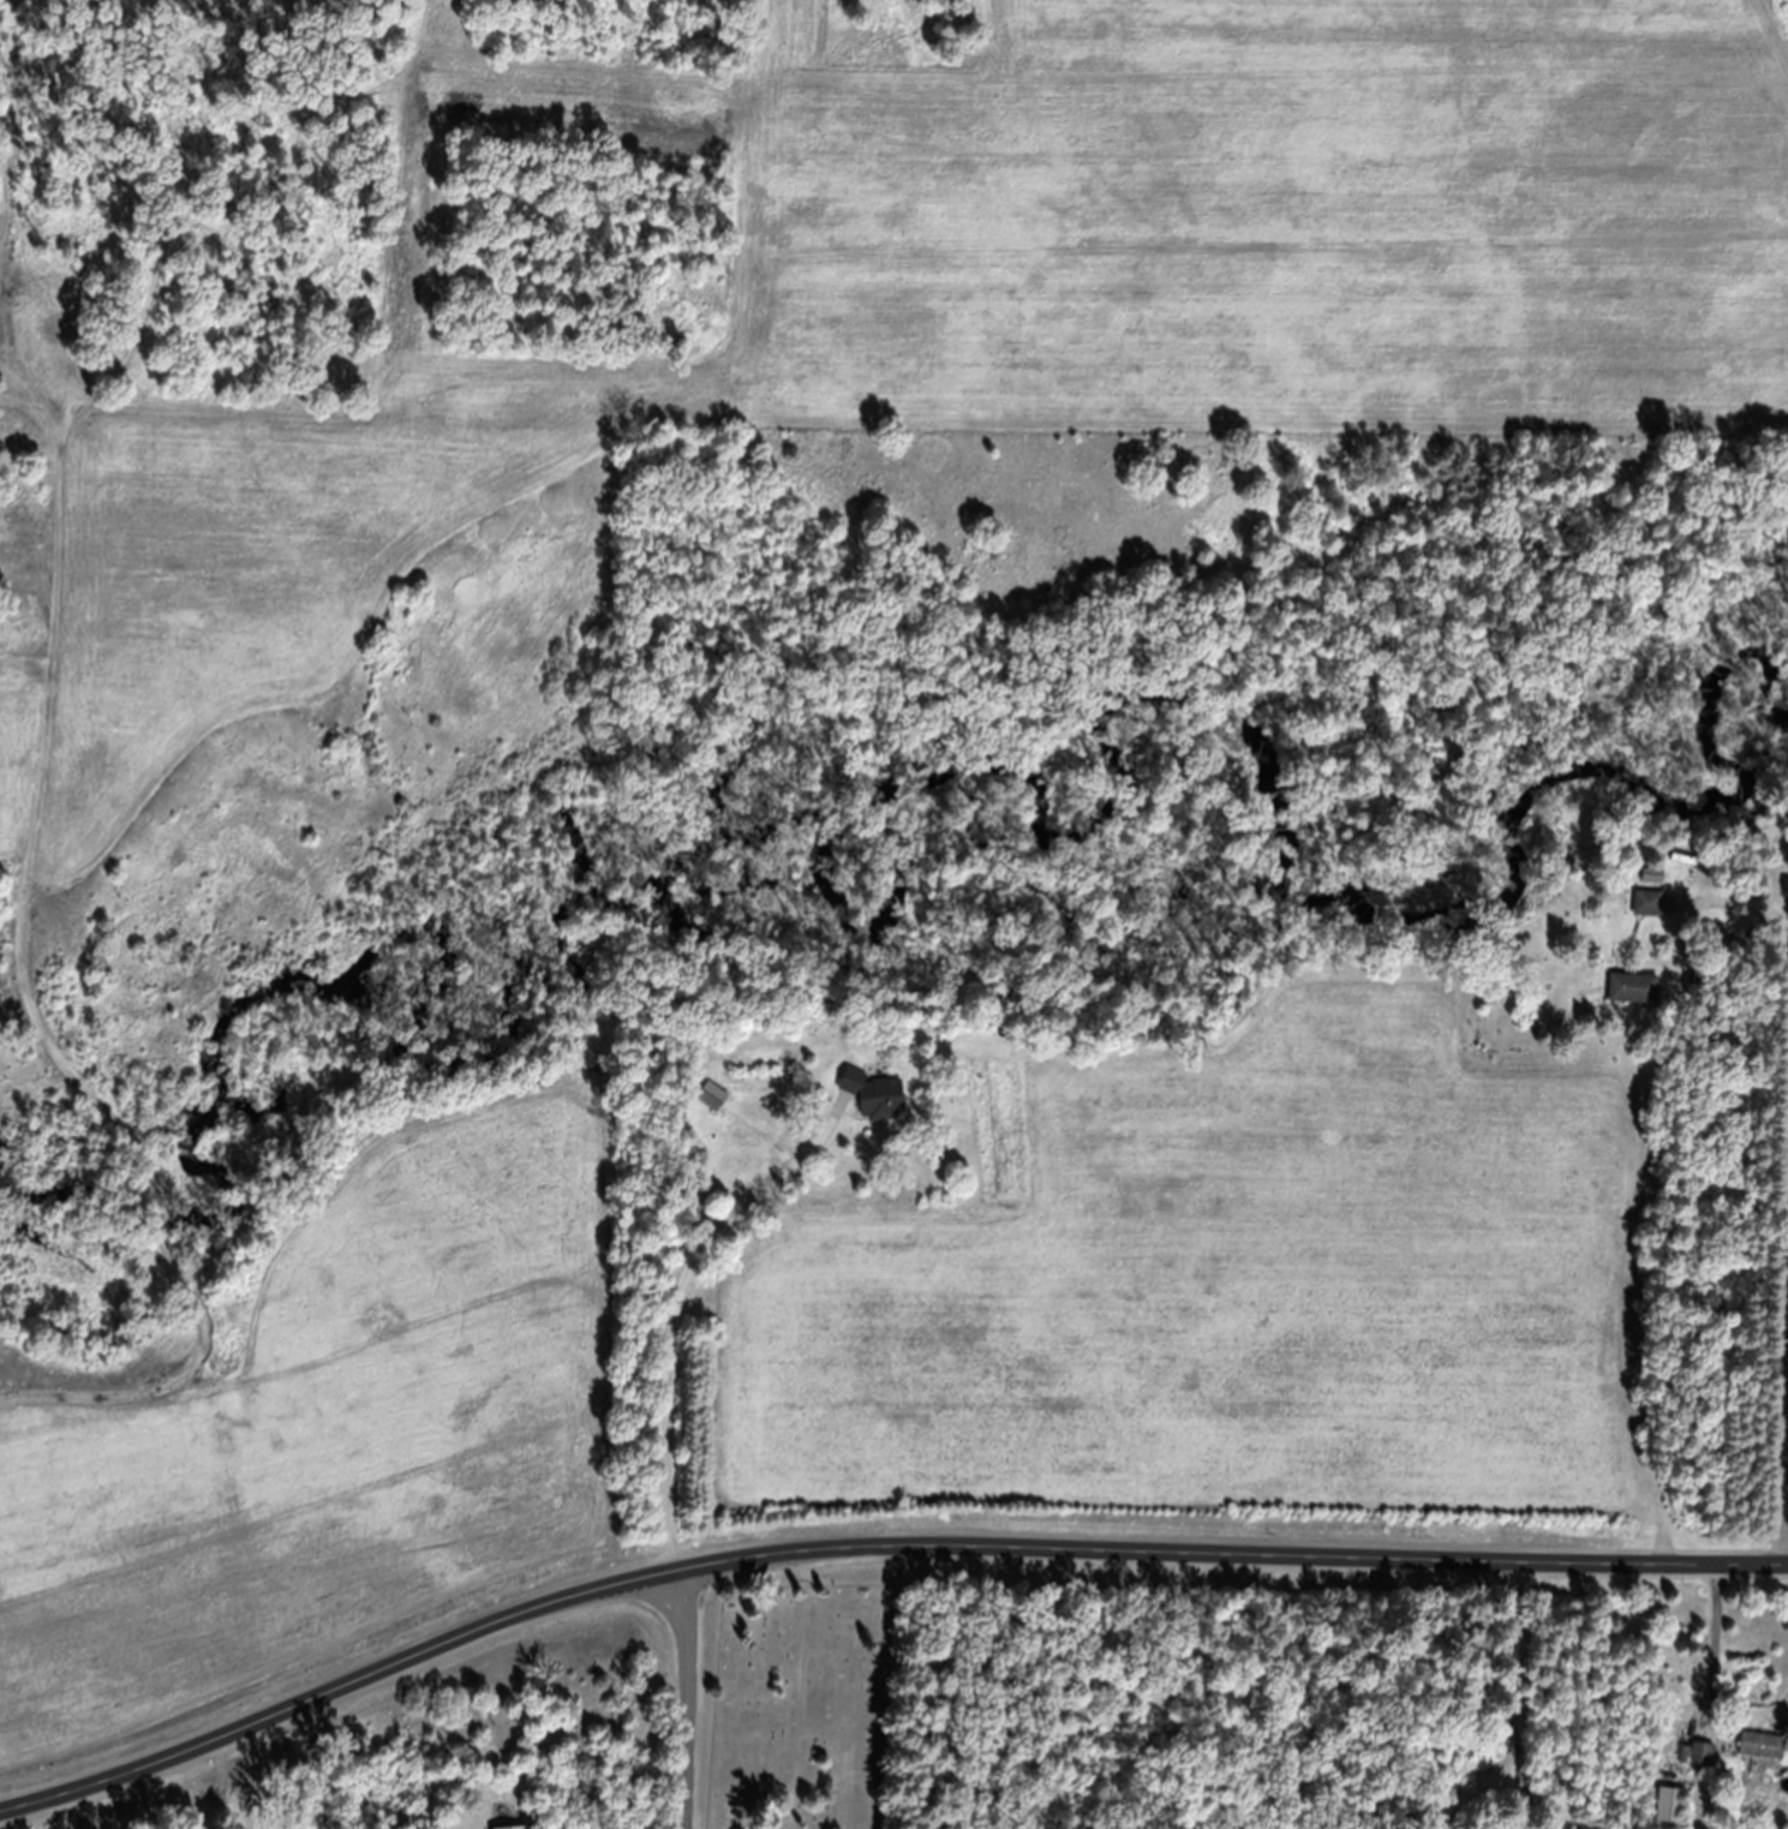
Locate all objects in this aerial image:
building: (1655, 890)
building: (1649, 918)
building: (1635, 1003)
building: (714, 1111)
building: (880, 1111)
road: (874, 1564)
road: (688, 1701)
building: (1765, 1759)
building: (1702, 1768)
building: (1674, 1815)

